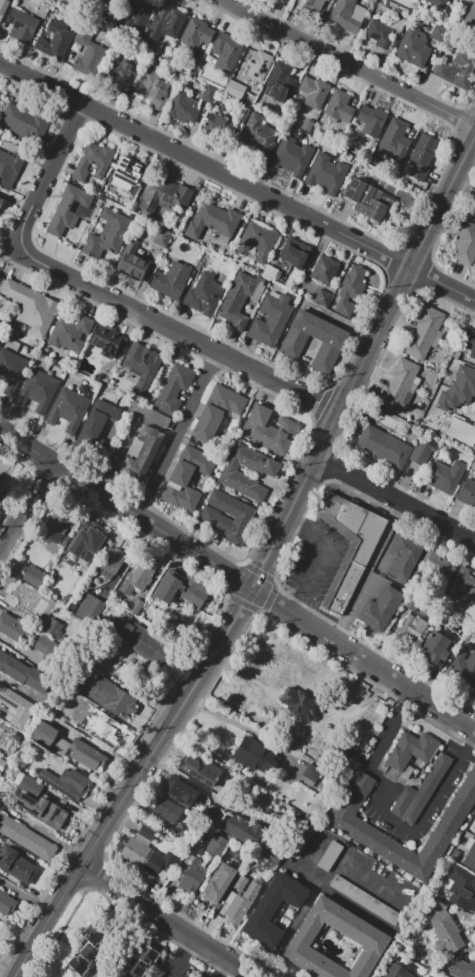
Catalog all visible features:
building: (81, 1)
building: (100, 1)
building: (440, 2)
building: (2, 4)
building: (312, 6)
building: (348, 14)
building: (470, 14)
building: (137, 18)
building: (165, 23)
building: (22, 26)
building: (379, 33)
building: (438, 33)
building: (196, 35)
building: (54, 40)
building: (413, 46)
building: (227, 50)
building: (89, 59)
road: (349, 62)
building: (259, 65)
building: (455, 69)
building: (122, 73)
building: (282, 82)
building: (154, 86)
building: (233, 88)
building: (314, 92)
building: (208, 93)
building: (336, 104)
building: (182, 108)
building: (25, 122)
building: (368, 123)
building: (217, 124)
building: (307, 125)
building: (257, 134)
building: (395, 143)
building: (292, 157)
building: (422, 157)
building: (93, 162)
building: (10, 167)
building: (402, 174)
building: (127, 175)
building: (327, 175)
road: (238, 181)
building: (165, 195)
building: (367, 199)
building: (1, 201)
building: (69, 210)
building: (211, 220)
building: (108, 233)
building: (257, 241)
building: (465, 245)
building: (296, 256)
building: (132, 262)
building: (325, 270)
building: (171, 280)
building: (349, 290)
building: (204, 293)
road: (105, 297)
building: (323, 298)
building: (238, 300)
building: (31, 308)
building: (271, 319)
building: (0, 331)
building: (423, 332)
building: (71, 333)
building: (1, 336)
building: (468, 343)
building: (330, 345)
building: (103, 353)
road: (363, 361)
building: (142, 367)
building: (11, 370)
building: (405, 382)
building: (173, 389)
building: (37, 390)
building: (458, 390)
building: (68, 409)
building: (217, 411)
building: (150, 415)
building: (97, 424)
building: (269, 429)
building: (461, 431)
road: (177, 435)
building: (383, 447)
building: (141, 453)
building: (419, 457)
building: (198, 458)
building: (231, 475)
building: (444, 476)
building: (181, 490)
building: (467, 492)
road: (395, 498)
building: (0, 501)
building: (0, 504)
road: (24, 506)
road: (125, 509)
building: (213, 519)
building: (58, 528)
building: (85, 544)
building: (349, 545)
road: (321, 557)
building: (404, 557)
building: (110, 562)
road: (367, 570)
building: (441, 571)
building: (137, 576)
building: (34, 577)
building: (464, 586)
building: (60, 588)
building: (179, 589)
building: (26, 598)
building: (90, 608)
building: (380, 609)
building: (11, 625)
building: (414, 625)
building: (52, 627)
building: (145, 641)
building: (44, 646)
building: (434, 648)
road: (363, 657)
building: (463, 668)
building: (23, 673)
road: (16, 686)
building: (474, 690)
building: (111, 698)
building: (16, 702)
building: (300, 703)
building: (94, 710)
road: (167, 728)
building: (111, 734)
building: (50, 738)
road: (96, 746)
building: (411, 750)
building: (254, 754)
building: (95, 755)
building: (203, 772)
building: (311, 773)
road: (180, 775)
building: (30, 783)
building: (66, 783)
building: (177, 789)
building: (419, 791)
building: (43, 809)
building: (167, 811)
building: (210, 814)
road: (388, 817)
building: (243, 830)
building: (148, 831)
building: (27, 838)
building: (301, 839)
building: (371, 839)
building: (215, 845)
building: (272, 853)
building: (329, 856)
building: (144, 857)
building: (470, 858)
building: (17, 864)
building: (193, 876)
building: (219, 881)
building: (462, 889)
road: (316, 890)
building: (240, 899)
building: (365, 899)
building: (6, 905)
building: (274, 907)
road: (48, 922)
road: (170, 922)
building: (359, 929)
building: (446, 932)
building: (88, 952)
road: (184, 957)
building: (141, 960)
road: (221, 967)
building: (464, 968)
building: (398, 971)

